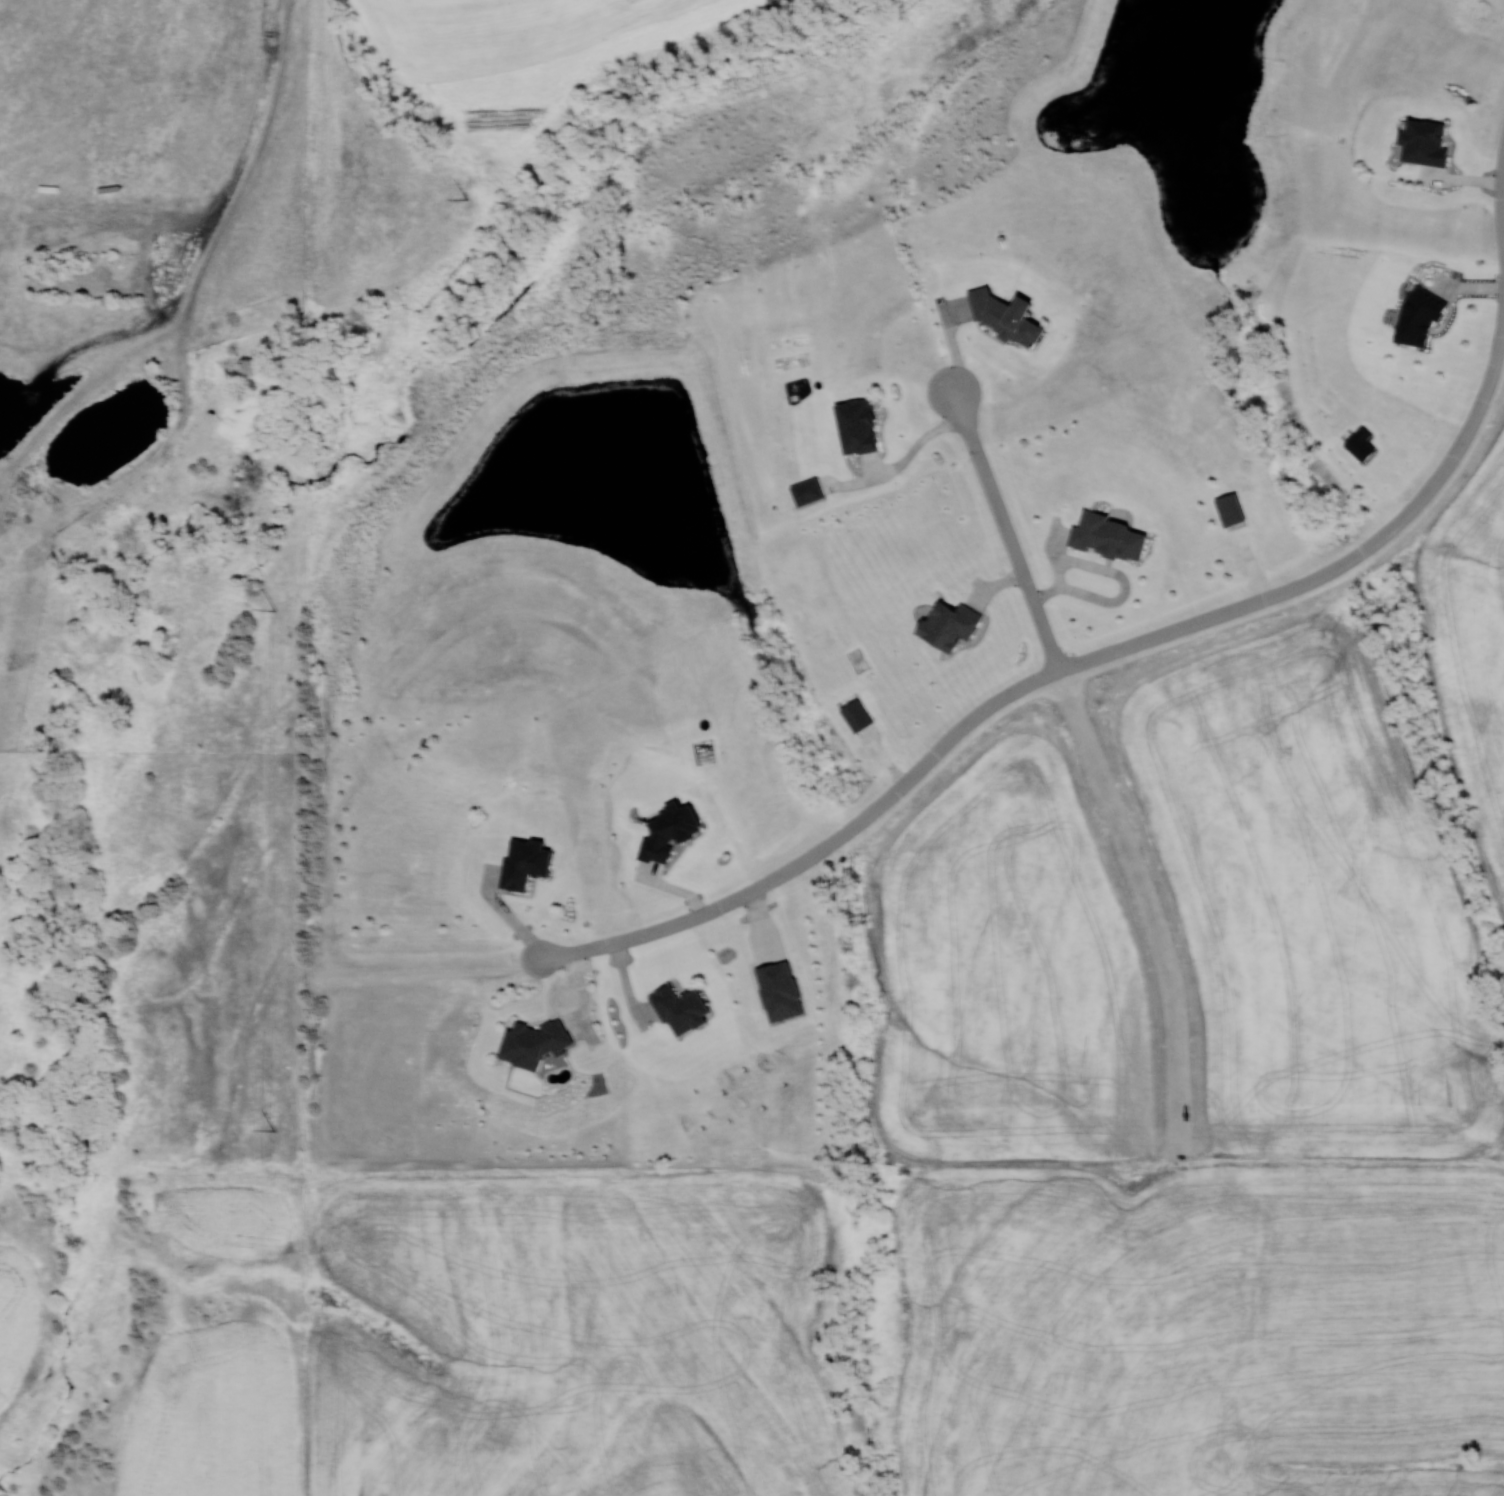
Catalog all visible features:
power tower: (465, 197)
road: (1501, 200)
park: (541, 355)
road: (1006, 530)
power tower: (273, 609)
road: (1217, 615)
road: (698, 913)
power tower: (274, 1130)

